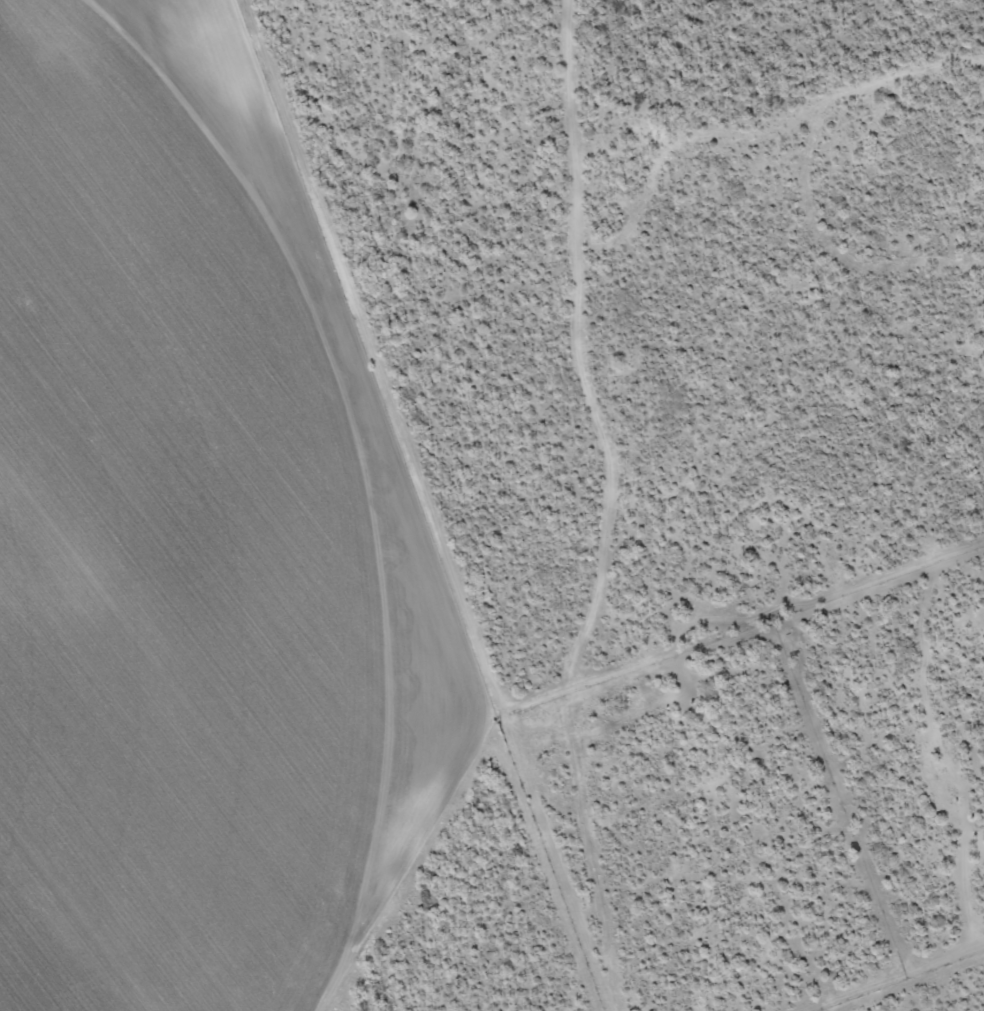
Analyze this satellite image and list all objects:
road: (631, 508)

